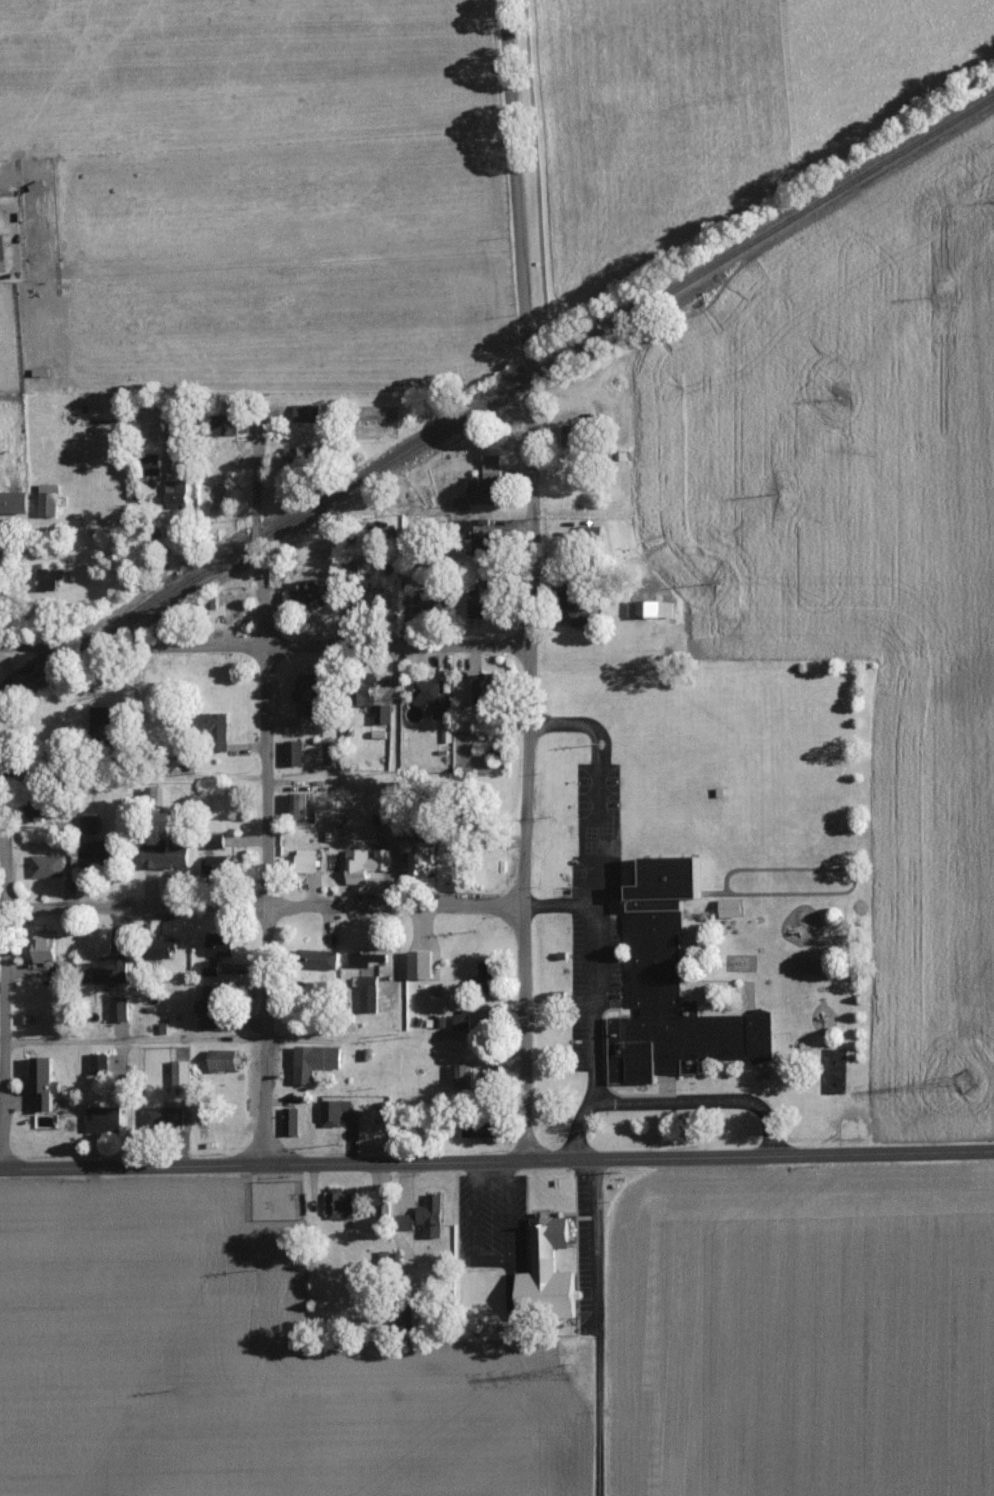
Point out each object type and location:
building: (2, 252)
road: (0, 283)
railway: (497, 393)
building: (307, 411)
building: (151, 421)
building: (228, 423)
building: (575, 434)
building: (296, 455)
building: (152, 463)
building: (492, 466)
building: (484, 491)
building: (177, 493)
building: (50, 499)
building: (14, 501)
building: (483, 543)
road: (610, 548)
building: (50, 578)
road: (527, 580)
road: (141, 592)
building: (311, 593)
building: (651, 608)
road: (263, 646)
building: (484, 689)
building: (311, 691)
building: (426, 691)
building: (443, 709)
building: (383, 713)
building: (103, 722)
building: (215, 723)
building: (294, 752)
road: (132, 774)
road: (264, 804)
building: (296, 804)
building: (45, 810)
building: (88, 823)
building: (96, 850)
building: (166, 855)
building: (421, 855)
building: (307, 860)
building: (219, 863)
building: (365, 863)
building: (46, 865)
road: (560, 905)
road: (262, 906)
building: (732, 907)
road: (594, 914)
building: (220, 943)
building: (165, 946)
building: (50, 950)
building: (367, 957)
building: (321, 958)
building: (423, 963)
building: (210, 967)
road: (2, 969)
building: (107, 969)
building: (488, 971)
building: (675, 990)
building: (369, 993)
building: (213, 1006)
building: (118, 1008)
building: (463, 1020)
road: (132, 1040)
building: (319, 1057)
building: (224, 1059)
building: (98, 1063)
power tower: (959, 1072)
building: (181, 1073)
building: (462, 1075)
building: (45, 1083)
road: (703, 1101)
building: (333, 1111)
building: (103, 1118)
building: (164, 1118)
building: (26, 1120)
building: (291, 1121)
road: (758, 1156)
road: (261, 1165)
building: (340, 1203)
building: (432, 1215)
road: (489, 1262)
building: (550, 1273)
road: (598, 1327)
power tower: (569, 1368)

